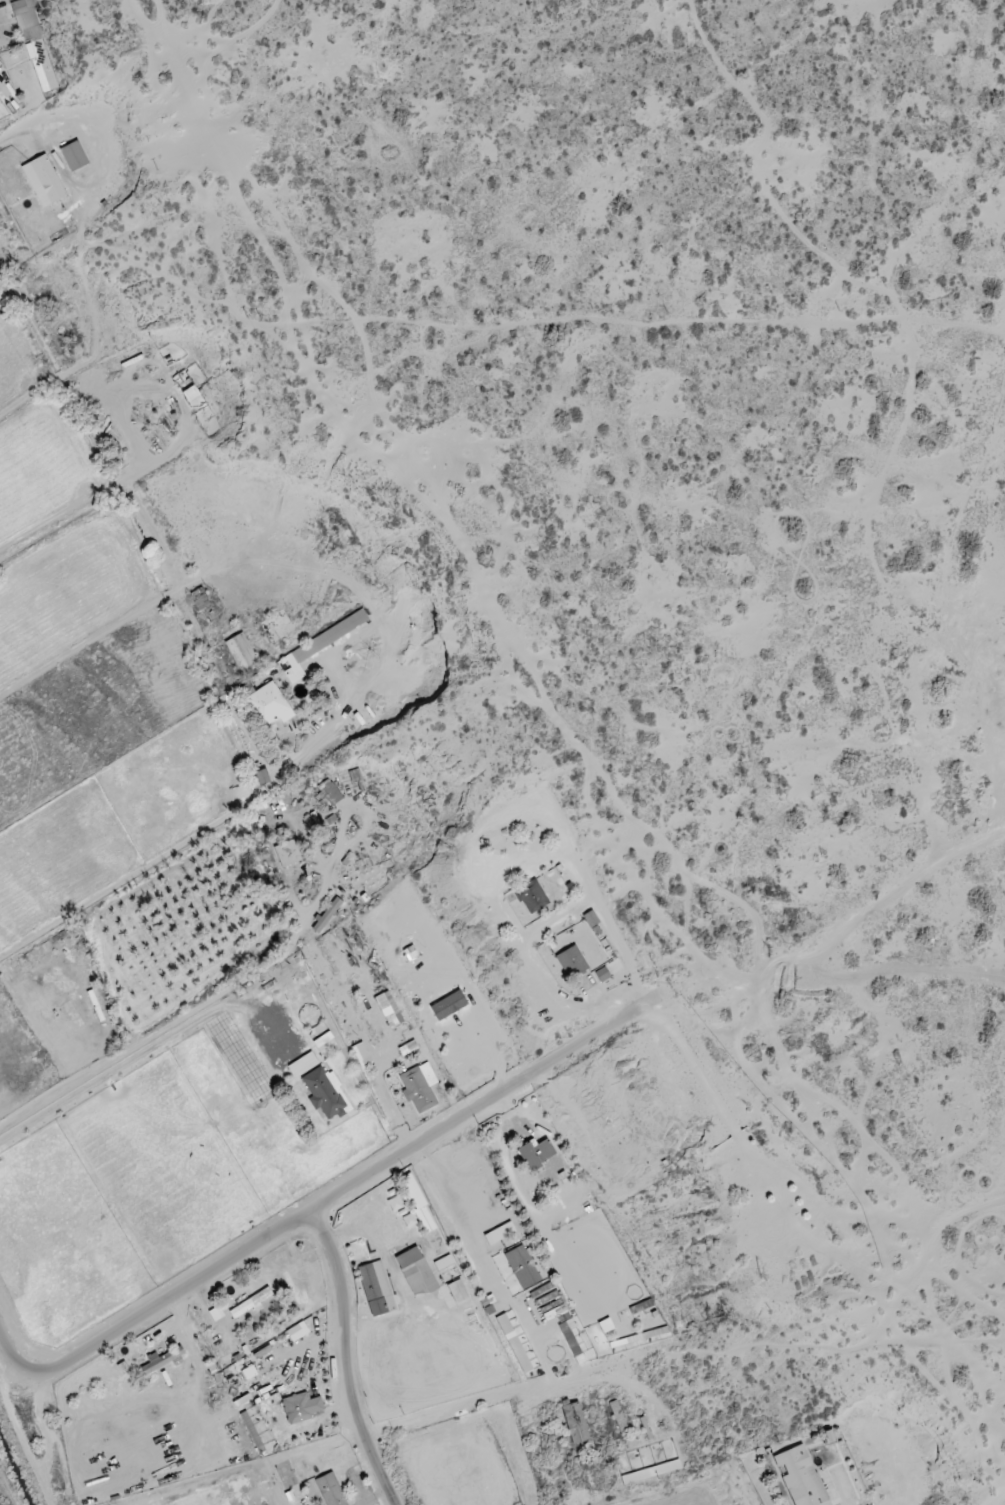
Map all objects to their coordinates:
building: (27, 20)
building: (42, 67)
building: (74, 156)
building: (43, 181)
building: (321, 644)
building: (242, 654)
building: (264, 705)
building: (262, 777)
building: (329, 793)
road: (165, 854)
building: (287, 854)
building: (531, 897)
building: (327, 915)
building: (590, 919)
building: (571, 962)
building: (602, 975)
building: (389, 1010)
road: (135, 1041)
building: (361, 1055)
building: (303, 1065)
building: (419, 1087)
building: (324, 1094)
building: (535, 1154)
building: (395, 1204)
building: (417, 1204)
road: (330, 1207)
building: (499, 1234)
building: (443, 1263)
building: (523, 1267)
building: (416, 1272)
building: (376, 1289)
building: (453, 1293)
building: (250, 1303)
building: (297, 1332)
building: (514, 1344)
road: (536, 1349)
building: (162, 1360)
road: (343, 1364)
building: (249, 1373)
building: (300, 1408)
building: (615, 1411)
building: (575, 1423)
building: (800, 1477)
building: (330, 1490)

